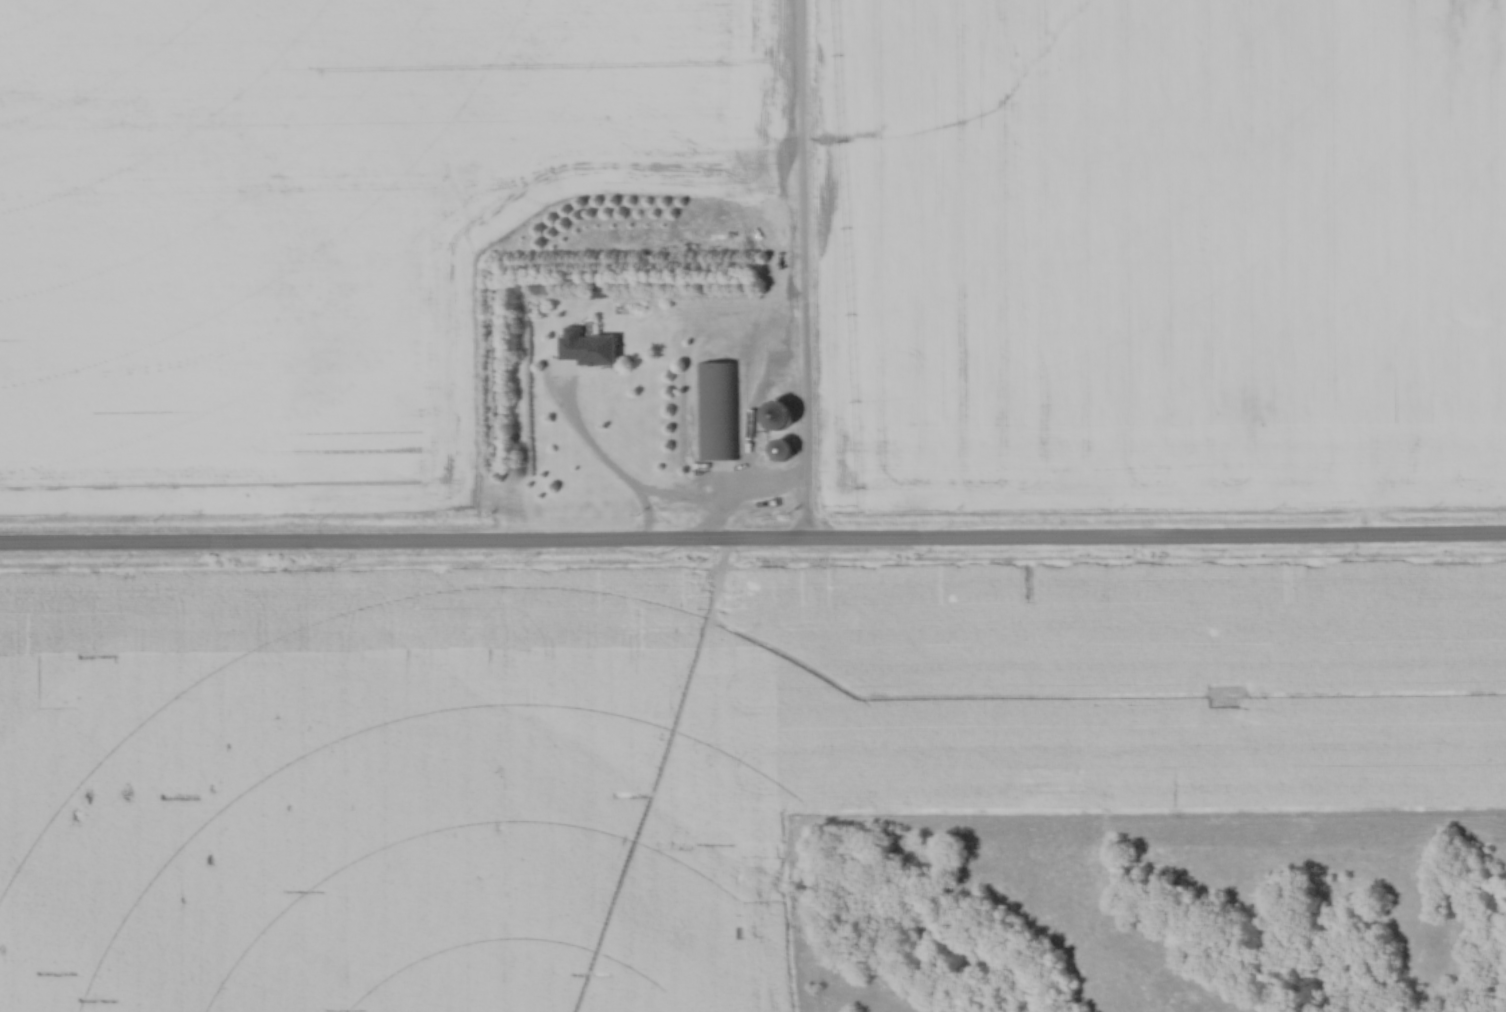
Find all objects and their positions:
road: (805, 273)
building: (584, 346)
building: (718, 409)
building: (775, 415)
building: (778, 449)
road: (753, 546)

